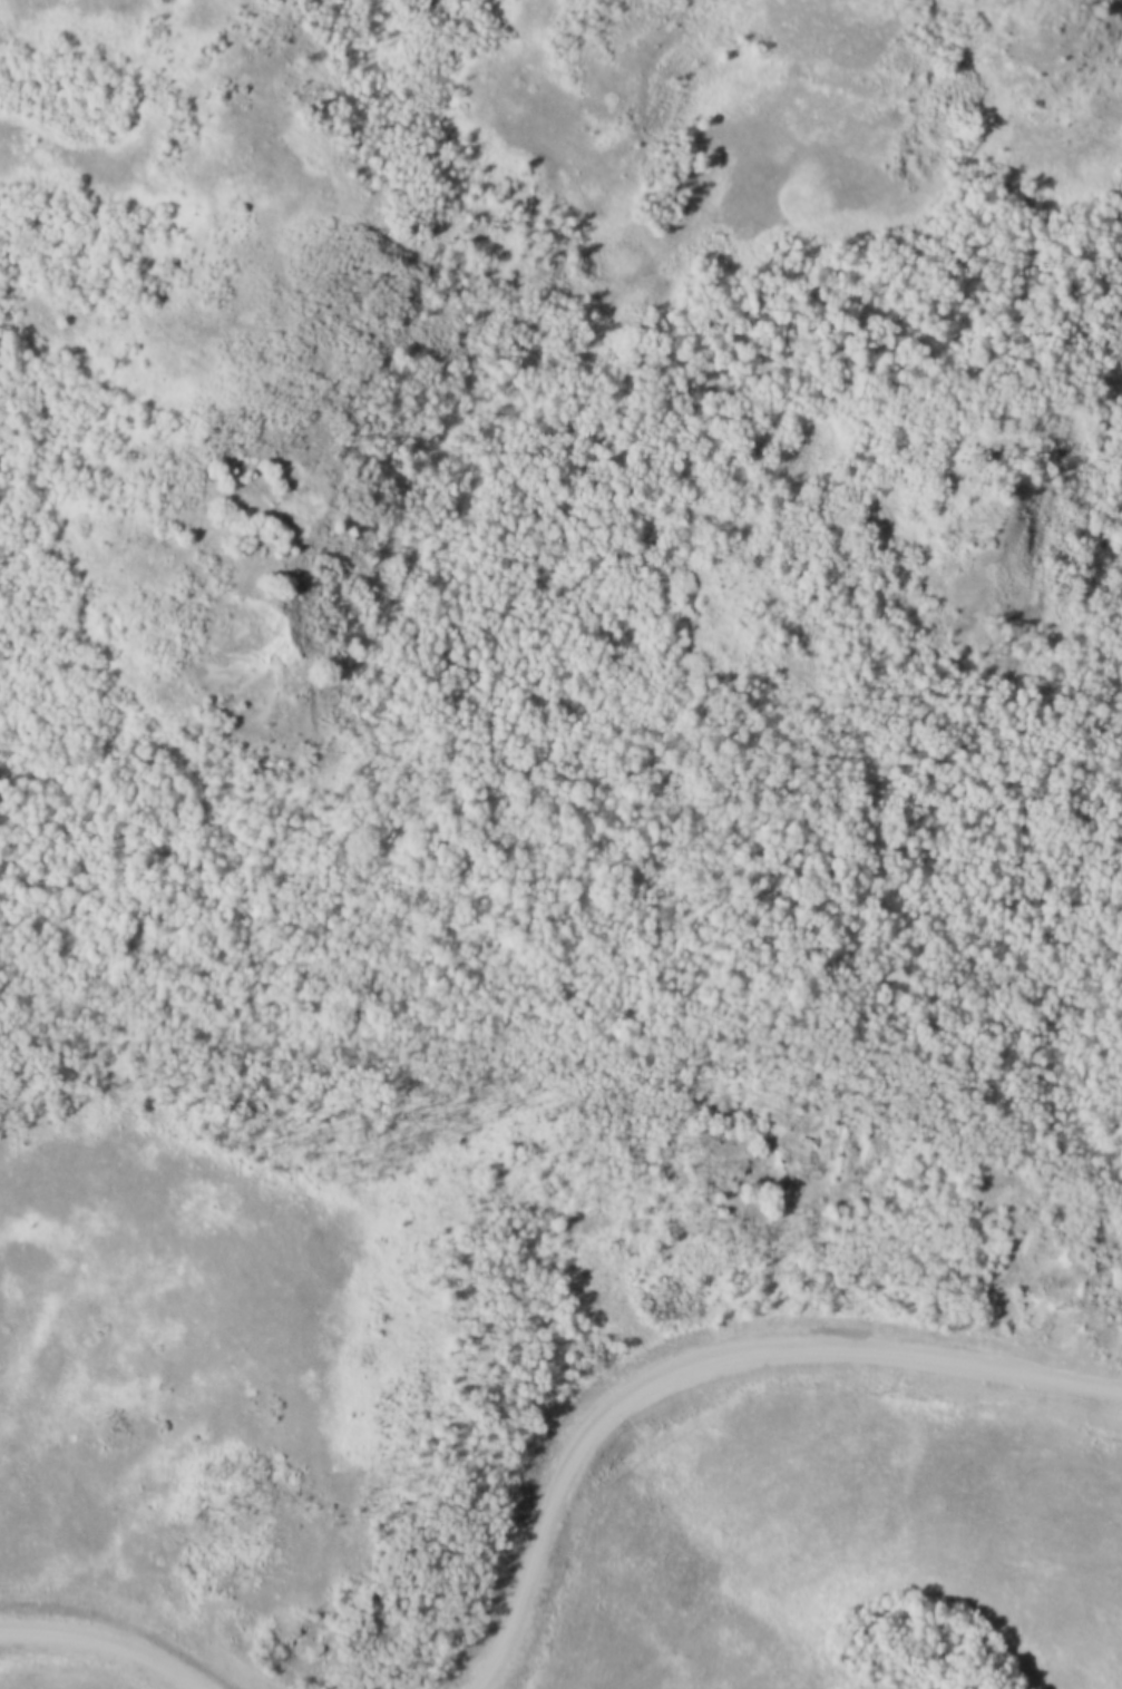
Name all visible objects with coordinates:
road: (859, 1560)

